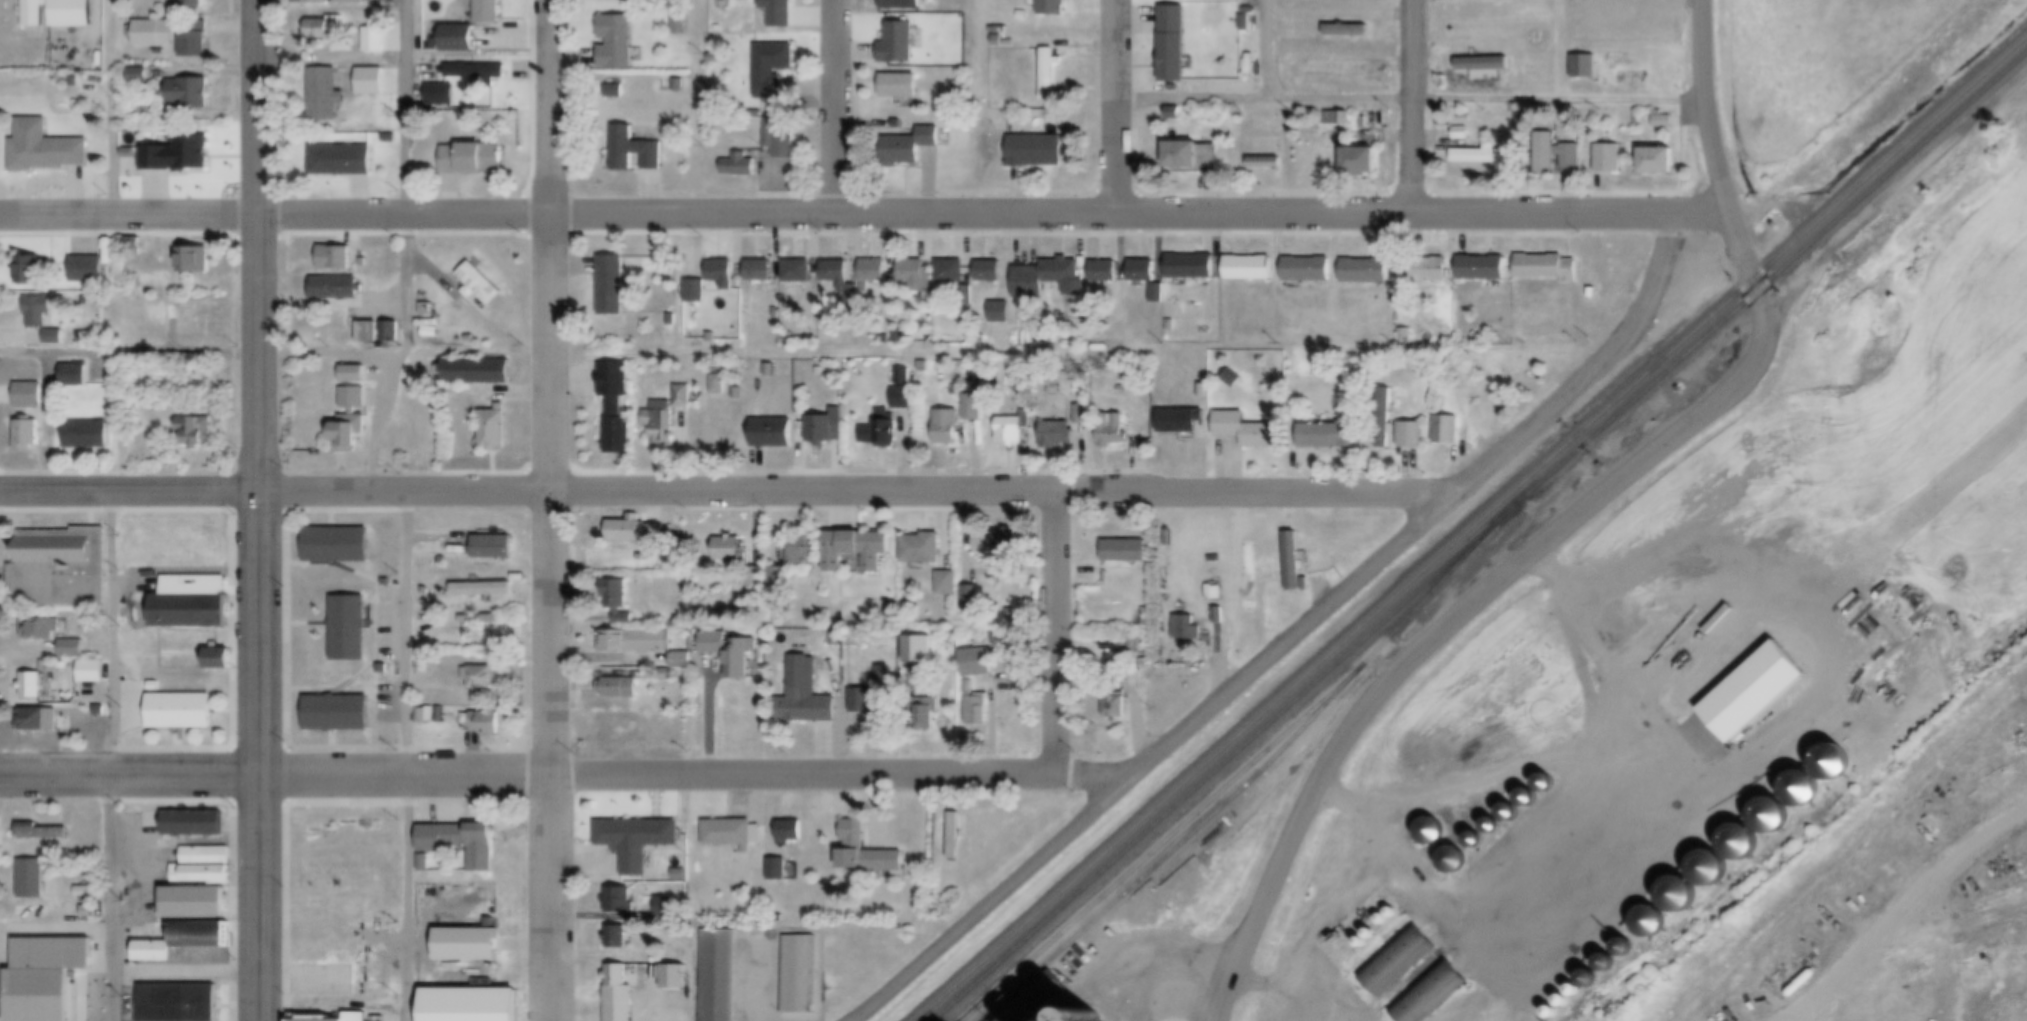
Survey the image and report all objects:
building: (321, 3)
building: (352, 3)
building: (902, 4)
building: (195, 5)
building: (1053, 9)
road: (979, 10)
building: (490, 13)
building: (780, 13)
building: (60, 14)
building: (1025, 14)
building: (1247, 22)
building: (682, 26)
building: (720, 28)
building: (328, 30)
building: (1348, 32)
building: (150, 34)
building: (459, 39)
building: (377, 41)
building: (1011, 41)
building: (197, 42)
building: (618, 43)
building: (900, 44)
road: (1078, 44)
building: (1175, 46)
road: (1270, 49)
building: (1340, 66)
building: (1485, 67)
building: (1586, 67)
building: (774, 68)
building: (1050, 74)
building: (480, 75)
building: (139, 76)
building: (370, 83)
building: (681, 86)
building: (901, 88)
building: (616, 91)
building: (441, 94)
building: (190, 95)
building: (325, 96)
road: (1415, 99)
road: (1713, 104)
road: (115, 107)
road: (837, 107)
road: (1119, 107)
road: (1412, 107)
building: (1176, 111)
building: (1468, 118)
building: (1339, 119)
building: (1664, 120)
building: (1270, 121)
building: (899, 124)
building: (1363, 125)
building: (1463, 132)
building: (783, 137)
building: (391, 138)
building: (1270, 142)
building: (46, 148)
building: (910, 148)
building: (635, 150)
building: (1037, 151)
building: (1571, 154)
building: (180, 156)
building: (1481, 156)
building: (474, 159)
building: (1194, 159)
building: (1610, 159)
building: (343, 162)
building: (1659, 162)
building: (1266, 163)
building: (1361, 164)
building: (741, 167)
road: (410, 179)
road: (128, 215)
road: (993, 215)
building: (1778, 226)
building: (337, 259)
building: (196, 262)
building: (366, 263)
building: (1191, 267)
building: (90, 268)
building: (1548, 268)
building: (1483, 269)
building: (1143, 270)
building: (1250, 270)
building: (1309, 271)
building: (1435, 271)
building: (31, 272)
building: (760, 272)
building: (798, 272)
building: (837, 272)
building: (875, 272)
building: (952, 272)
building: (990, 272)
building: (1367, 272)
building: (722, 273)
building: (1105, 273)
building: (918, 277)
building: (1050, 279)
building: (481, 286)
building: (613, 288)
building: (336, 289)
building: (696, 291)
building: (1160, 293)
building: (1595, 294)
building: (969, 297)
building: (39, 310)
building: (431, 313)
building: (1001, 313)
building: (673, 320)
building: (1172, 325)
building: (433, 328)
building: (369, 331)
building: (392, 332)
building: (1407, 334)
building: (901, 335)
building: (56, 338)
building: (713, 338)
building: (473, 340)
road: (276, 357)
building: (926, 366)
building: (1002, 372)
building: (479, 373)
building: (355, 374)
building: (76, 377)
building: (1234, 378)
building: (720, 386)
building: (905, 389)
building: (1205, 389)
building: (1684, 390)
building: (30, 396)
building: (684, 397)
building: (974, 408)
building: (617, 409)
building: (1083, 414)
building: (662, 417)
building: (1386, 419)
building: (1181, 421)
building: (352, 422)
building: (1380, 423)
building: (826, 426)
building: (948, 427)
building: (434, 428)
building: (1014, 429)
building: (882, 430)
building: (496, 431)
building: (1247, 431)
building: (1448, 431)
building: (198, 432)
building: (774, 432)
building: (1114, 432)
building: (28, 435)
building: (89, 435)
building: (1412, 436)
building: (1058, 437)
building: (1329, 437)
building: (1605, 466)
road: (854, 492)
road: (129, 493)
road: (259, 510)
road: (553, 510)
railway: (1471, 529)
building: (638, 533)
railway: (1478, 536)
building: (1008, 539)
building: (338, 546)
building: (494, 548)
building: (731, 549)
building: (804, 550)
building: (923, 550)
building: (1127, 551)
building: (857, 552)
building: (1296, 564)
building: (62, 569)
building: (1248, 569)
building: (756, 579)
building: (780, 579)
building: (389, 581)
railway: (1439, 581)
building: (949, 584)
building: (427, 590)
building: (485, 590)
road: (1488, 591)
building: (1215, 592)
building: (972, 598)
building: (619, 602)
building: (1149, 611)
building: (191, 613)
building: (1219, 616)
building: (482, 620)
building: (1149, 620)
building: (41, 628)
building: (351, 629)
building: (1188, 630)
road: (1055, 634)
road: (1289, 637)
building: (637, 641)
building: (1111, 641)
building: (73, 648)
building: (920, 650)
building: (732, 653)
building: (219, 660)
building: (683, 660)
building: (980, 663)
building: (65, 665)
building: (386, 667)
building: (94, 672)
building: (668, 673)
building: (886, 676)
building: (484, 678)
building: (156, 685)
building: (33, 686)
building: (620, 687)
building: (1755, 698)
building: (862, 701)
building: (1117, 705)
building: (806, 707)
building: (182, 711)
building: (978, 712)
building: (339, 713)
building: (424, 714)
building: (927, 719)
building: (37, 722)
building: (489, 723)
road: (111, 756)
road: (405, 756)
building: (1838, 769)
silo: (1838, 769)
road: (695, 774)
road: (130, 775)
building: (1550, 788)
silo: (1550, 788)
building: (1806, 795)
silo: (1806, 795)
building: (1532, 802)
silo: (1532, 802)
building: (1513, 817)
silo: (1513, 817)
building: (1775, 821)
silo: (1775, 821)
building: (195, 823)
building: (1496, 831)
silo: (1496, 831)
building: (791, 832)
building: (42, 833)
building: (734, 835)
building: (955, 837)
building: (1436, 838)
silo: (1436, 838)
building: (638, 842)
railway: (1159, 842)
building: (459, 844)
building: (1479, 846)
silo: (1479, 846)
railway: (1173, 847)
building: (1744, 847)
silo: (1744, 847)
building: (867, 855)
building: (207, 856)
building: (1458, 867)
silo: (1458, 867)
building: (779, 869)
building: (682, 874)
building: (1713, 874)
silo: (1713, 874)
building: (203, 875)
building: (33, 881)
building: (86, 892)
building: (1683, 900)
silo: (1683, 900)
building: (621, 901)
building: (669, 907)
building: (197, 908)
building: (89, 912)
storage tank: (1392, 917)
storage tank: (1384, 924)
building: (1655, 929)
silo: (1655, 929)
building: (617, 937)
building: (202, 939)
storage tank: (1372, 940)
building: (469, 948)
storage tank: (1365, 948)
building: (1631, 953)
silo: (1631, 953)
building: (155, 954)
building: (55, 956)
road: (1298, 968)
building: (1403, 968)
building: (1612, 968)
silo: (1612, 968)
building: (720, 975)
building: (801, 975)
building: (677, 979)
building: (1595, 985)
silo: (1595, 985)
building: (619, 994)
building: (40, 997)
building: (1578, 997)
silo: (1578, 997)
building: (1437, 998)
building: (1037, 1001)
building: (468, 1002)
building: (179, 1003)
building: (1567, 1007)
silo: (1567, 1007)
building: (357, 1017)
building: (1555, 1017)
silo: (1555, 1017)
building: (317, 1018)
building: (1095, 1019)
silo: (1095, 1019)

